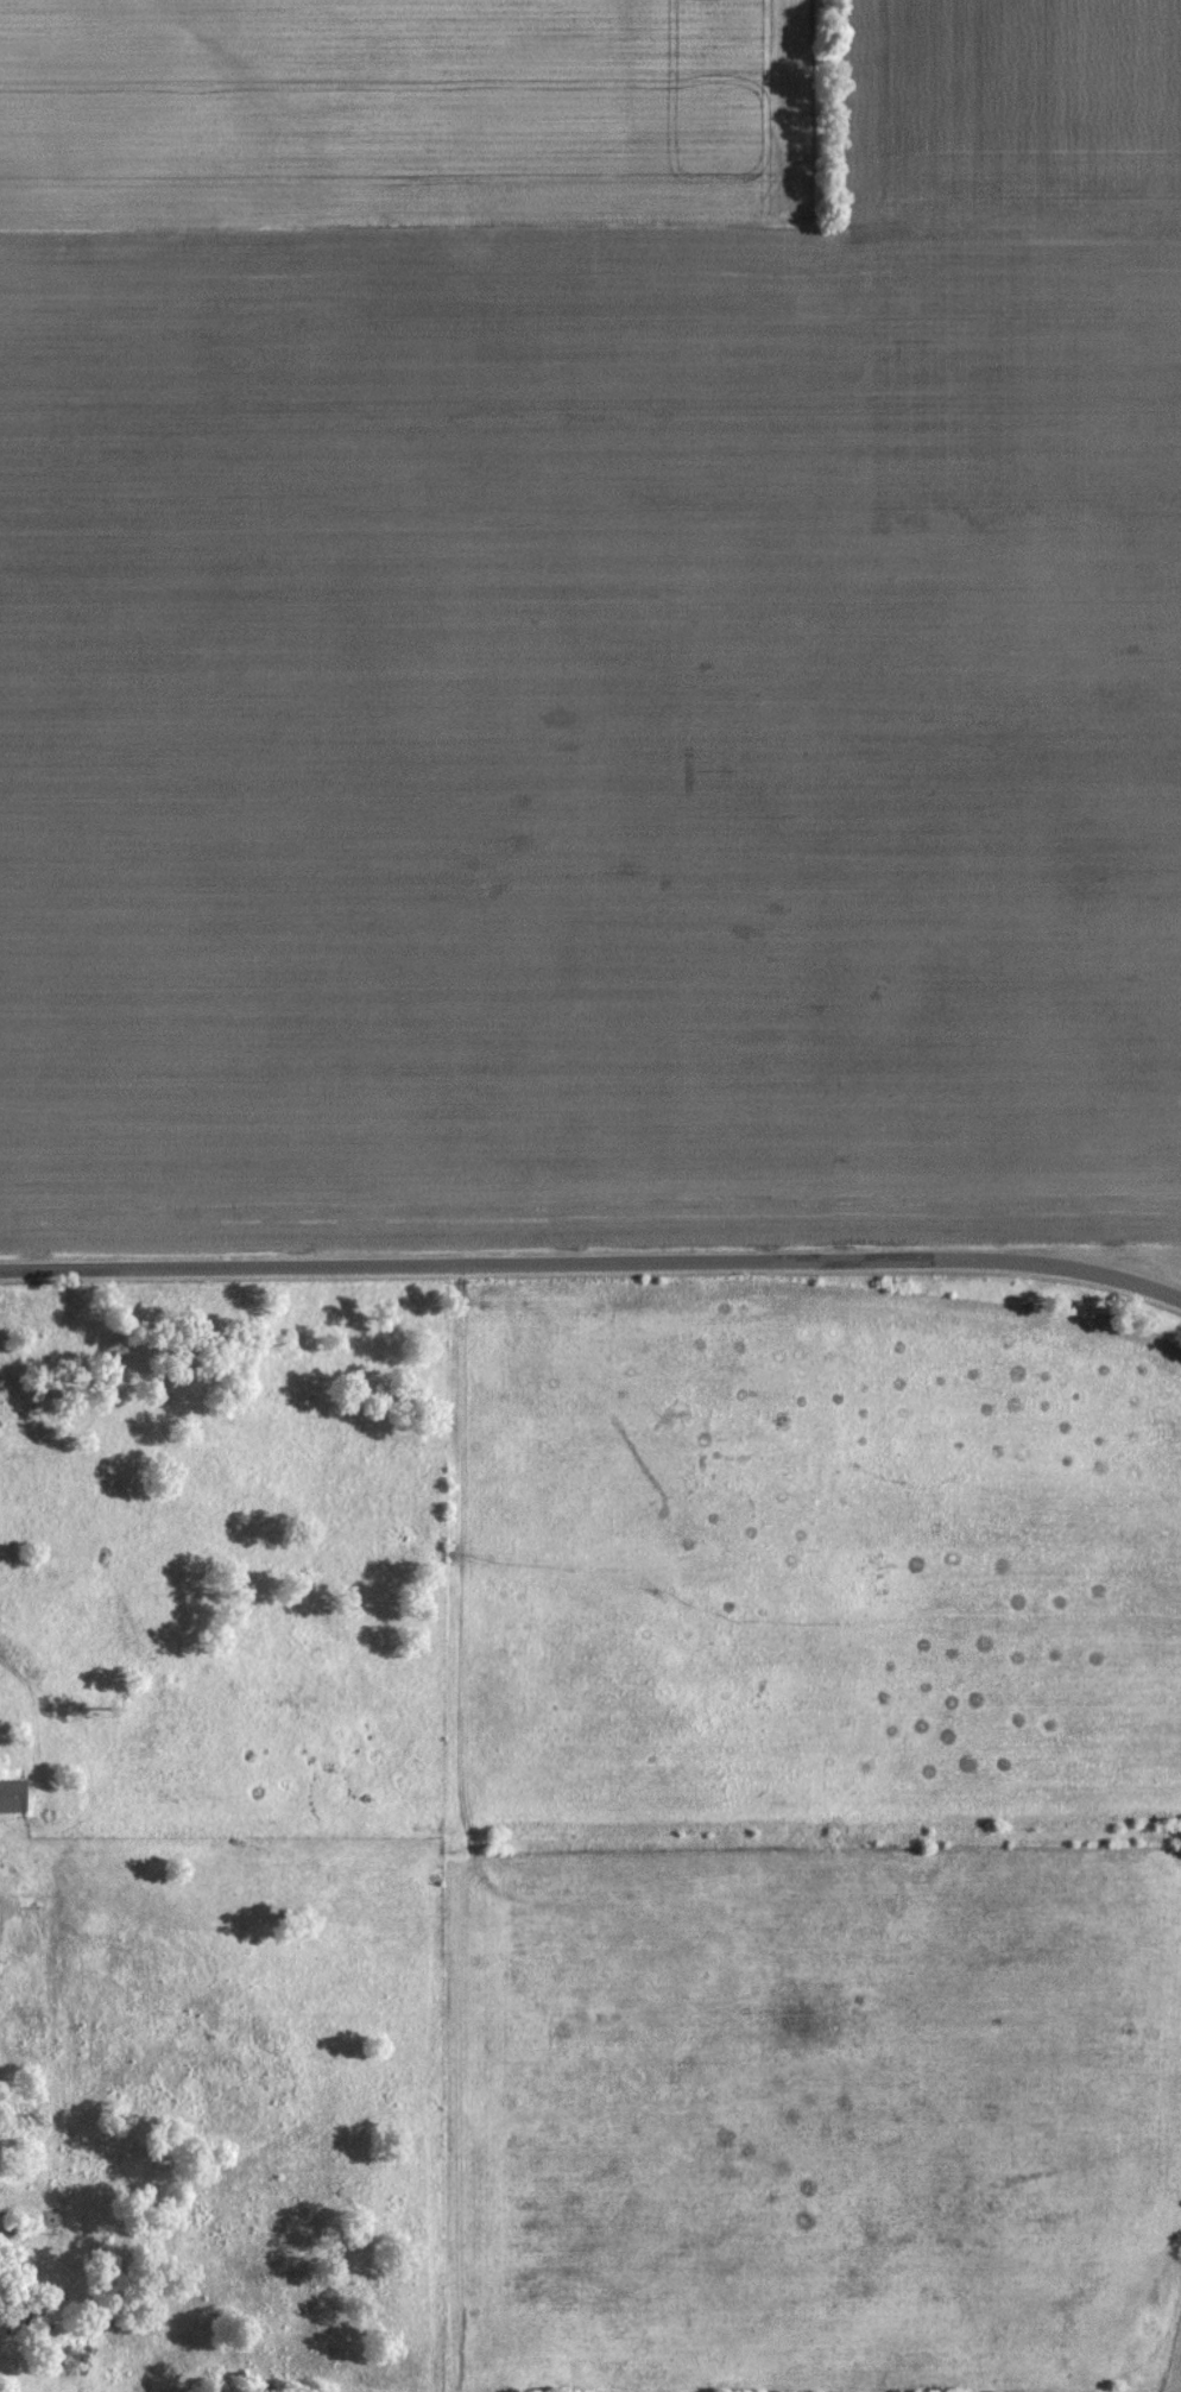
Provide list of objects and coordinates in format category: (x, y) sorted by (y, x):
road: (592, 1268)
road: (26, 1709)
building: (11, 1794)

